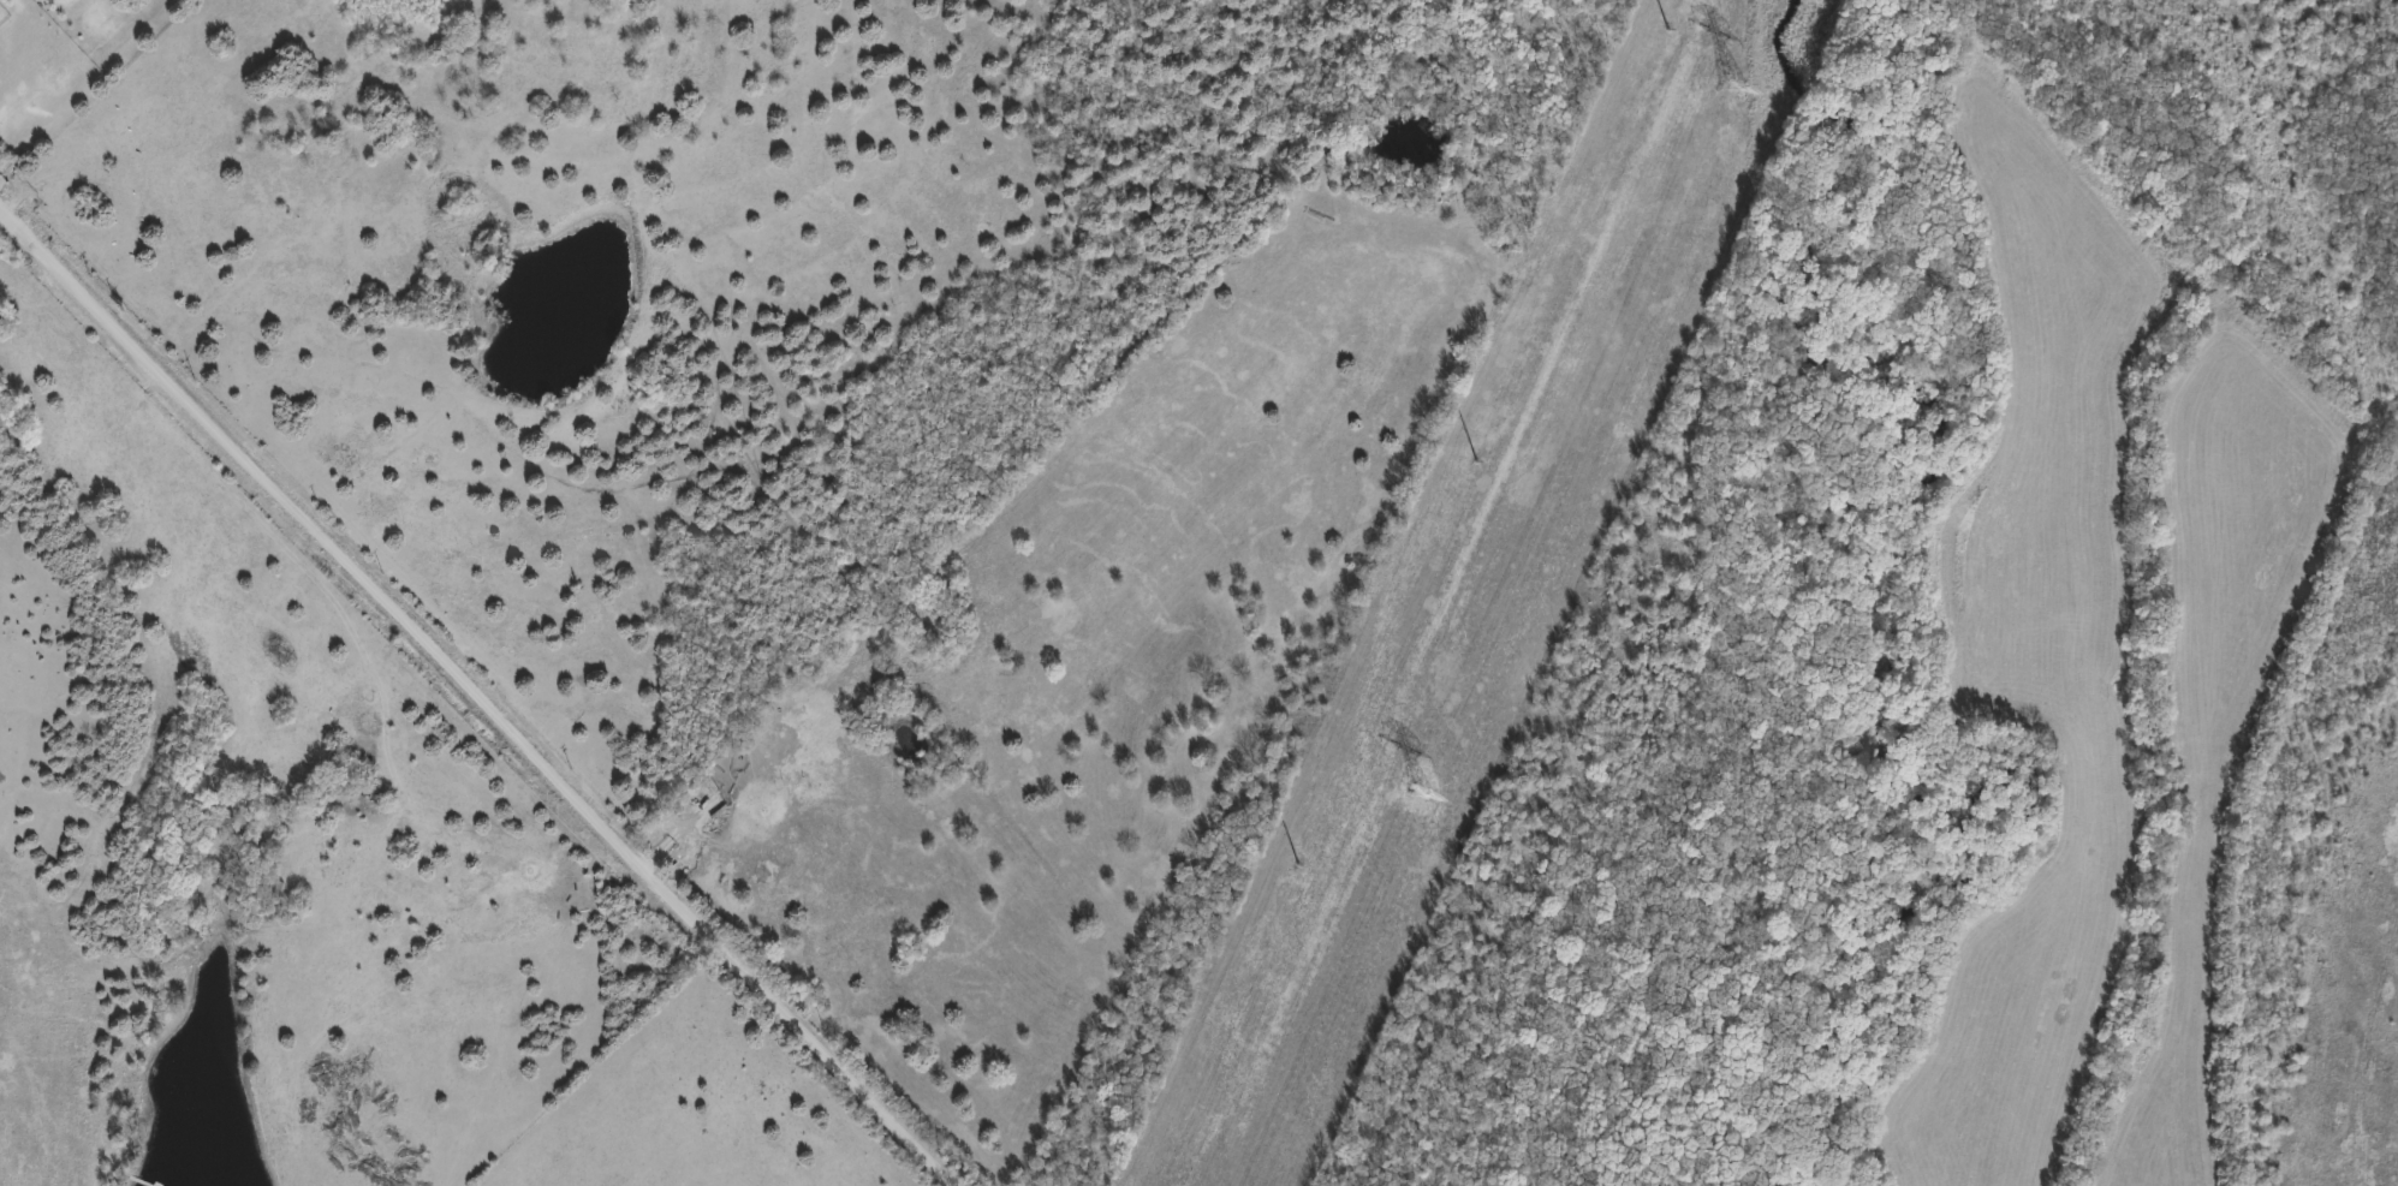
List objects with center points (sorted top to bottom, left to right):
power tower: (1667, 36)
power tower: (1737, 89)
power tower: (1482, 453)
road: (471, 702)
power tower: (1423, 792)
power tower: (1298, 870)

